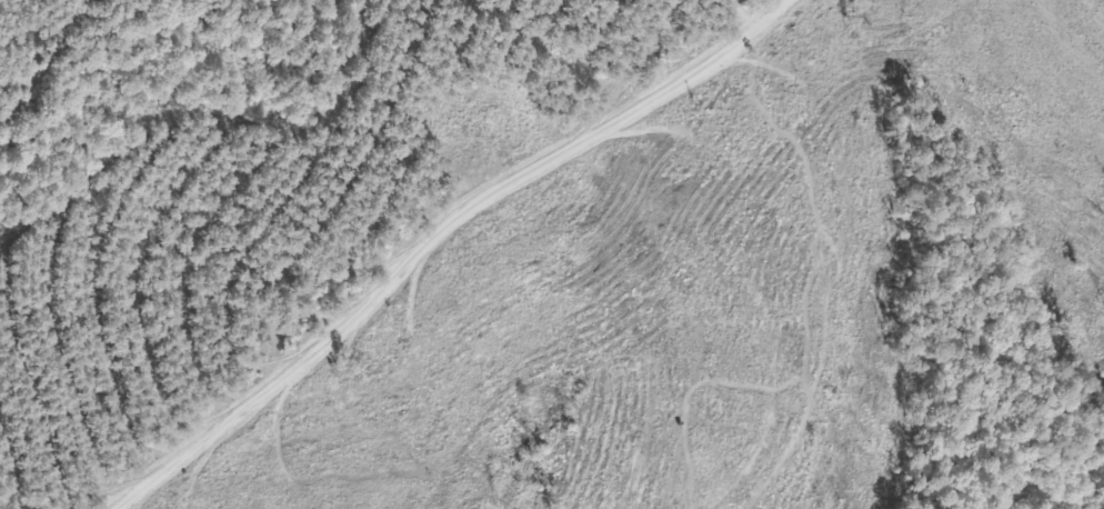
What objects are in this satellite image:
road: (675, 19)
road: (733, 23)

